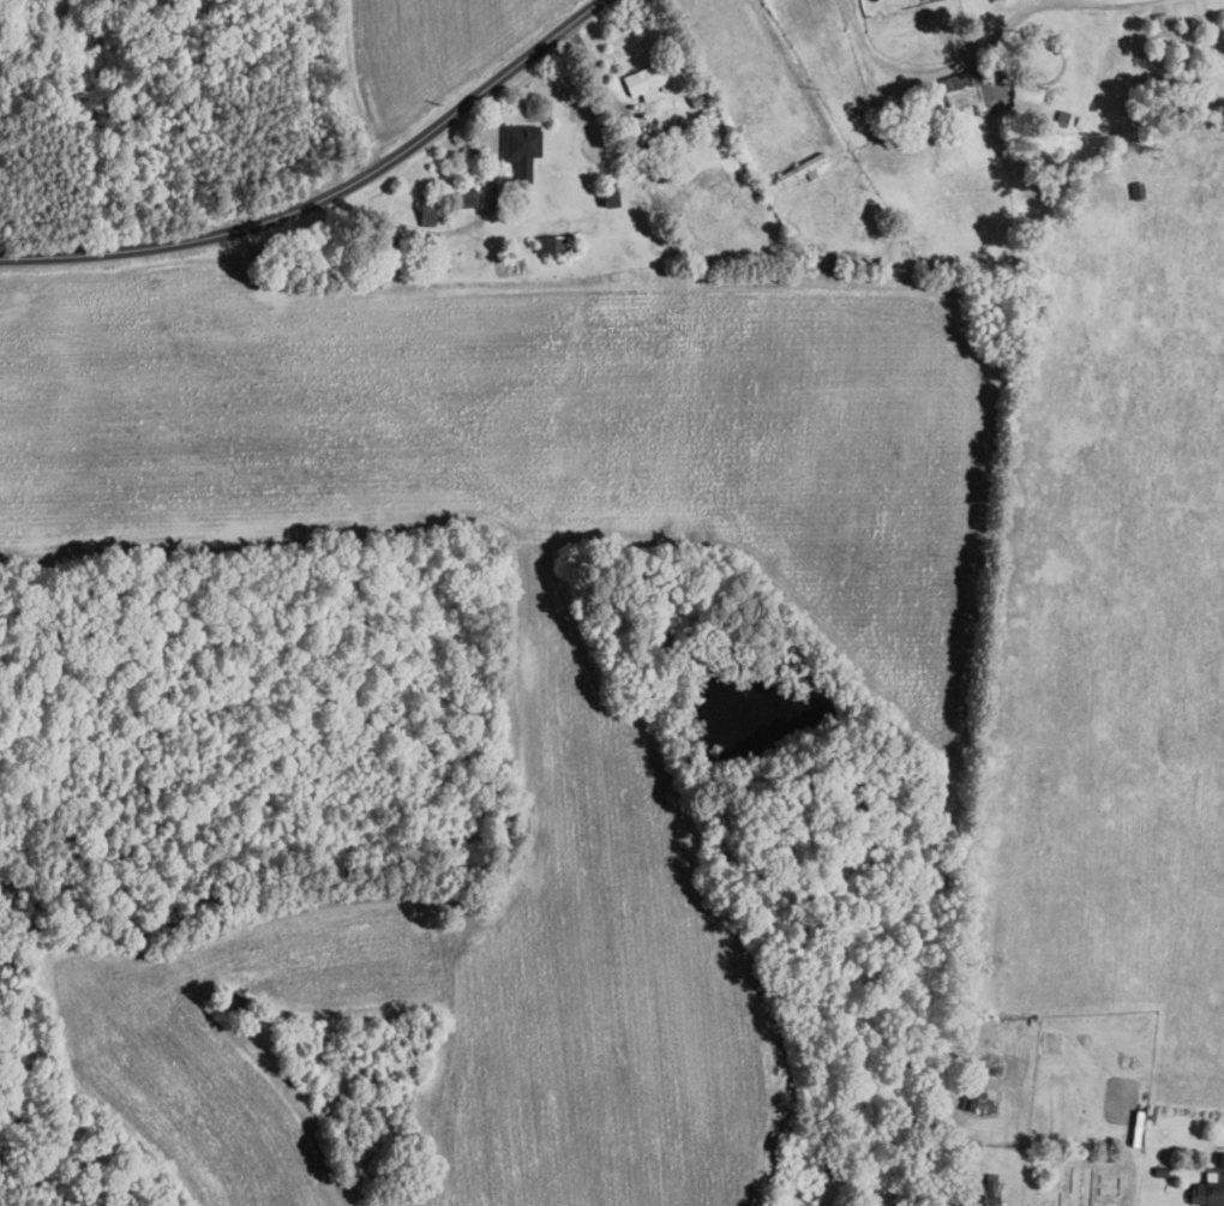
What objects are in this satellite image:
road: (1108, 2)
road: (793, 72)
building: (646, 77)
road: (349, 85)
building: (977, 88)
building: (521, 150)
building: (800, 168)
road: (329, 194)
building: (463, 199)
building: (428, 211)
building: (553, 245)

